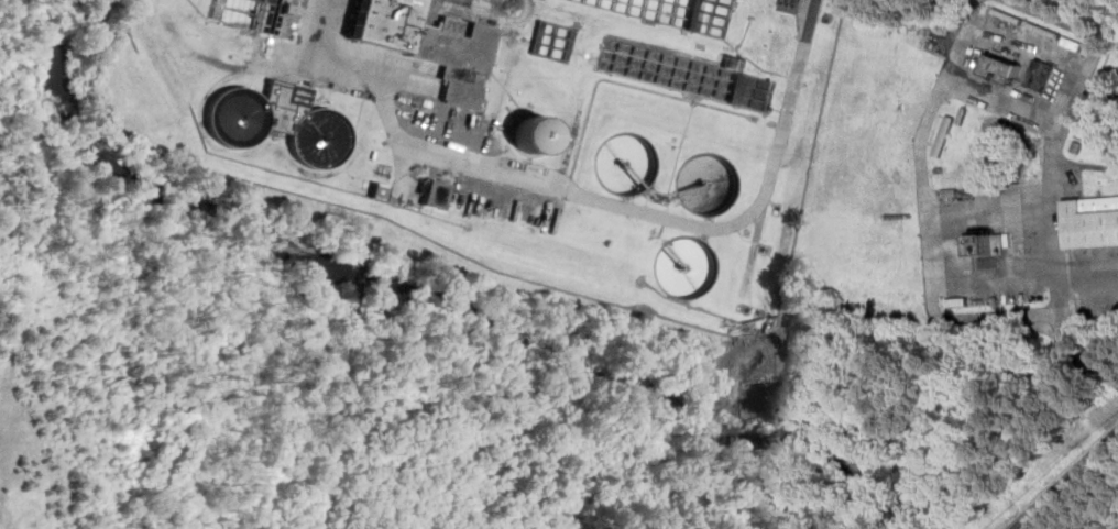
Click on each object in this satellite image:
building: (263, 15)
building: (386, 23)
road: (960, 42)
building: (459, 54)
building: (735, 62)
building: (1001, 69)
building: (1042, 75)
building: (284, 92)
road: (1073, 101)
building: (240, 117)
storage tank: (240, 117)
wastewater plant: (512, 128)
building: (945, 134)
building: (534, 135)
storage tank: (534, 135)
building: (322, 137)
storage tank: (322, 137)
building: (382, 191)
building: (437, 194)
road: (595, 198)
building: (1090, 222)
building: (990, 245)
road: (930, 256)
road: (1054, 300)
road: (1067, 482)

